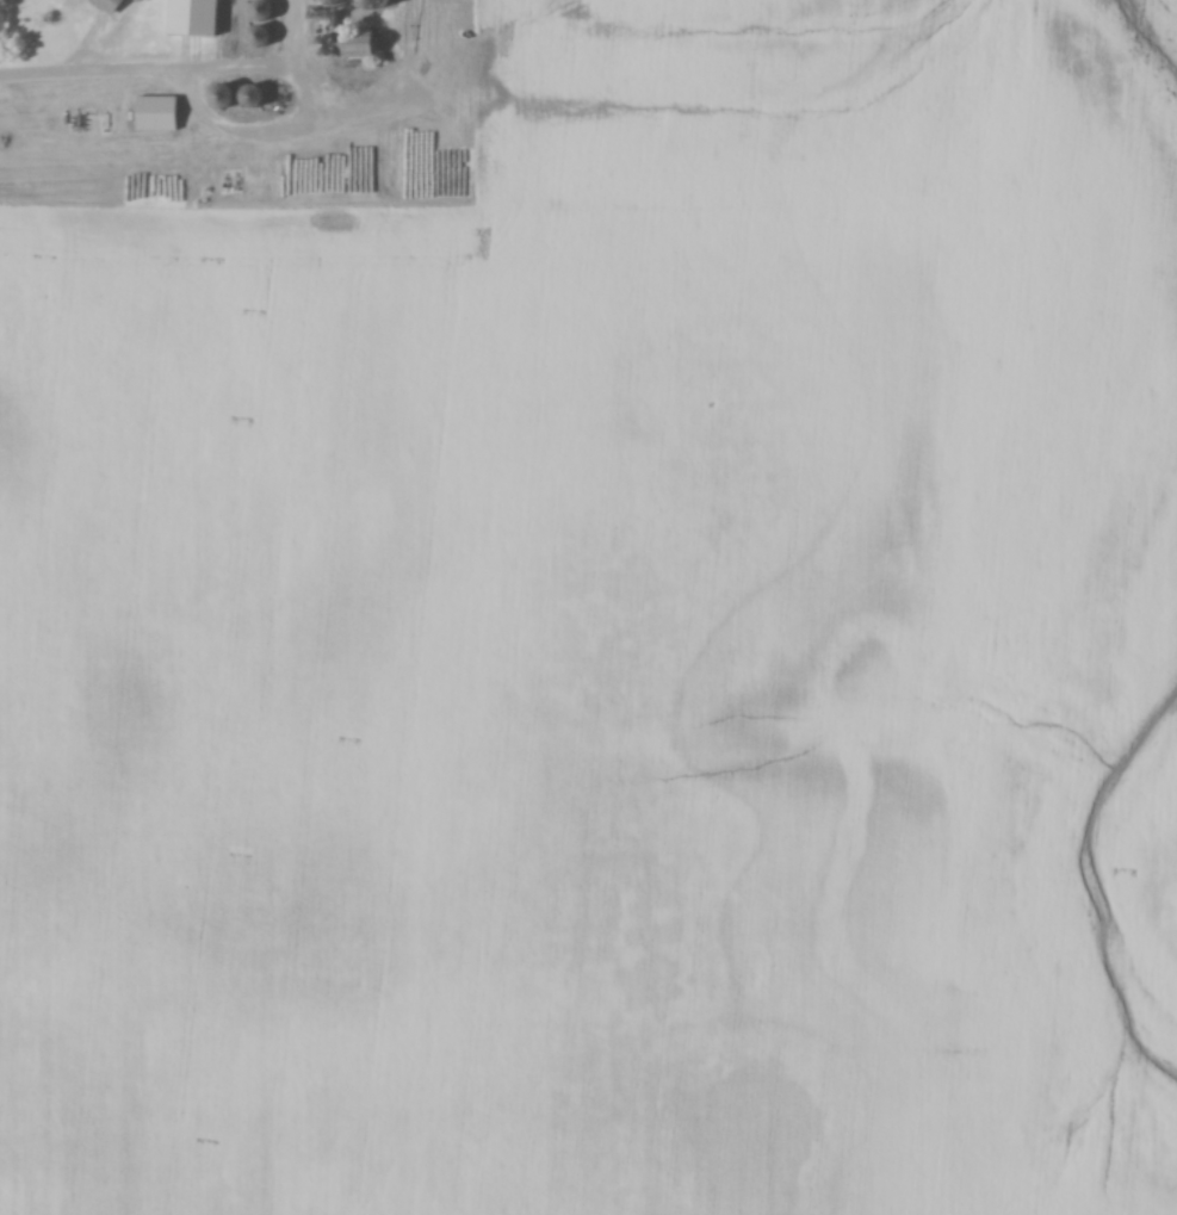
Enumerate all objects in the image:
building: (110, 5)
building: (262, 11)
building: (194, 18)
building: (260, 38)
building: (359, 45)
building: (223, 98)
building: (252, 98)
building: (157, 113)

